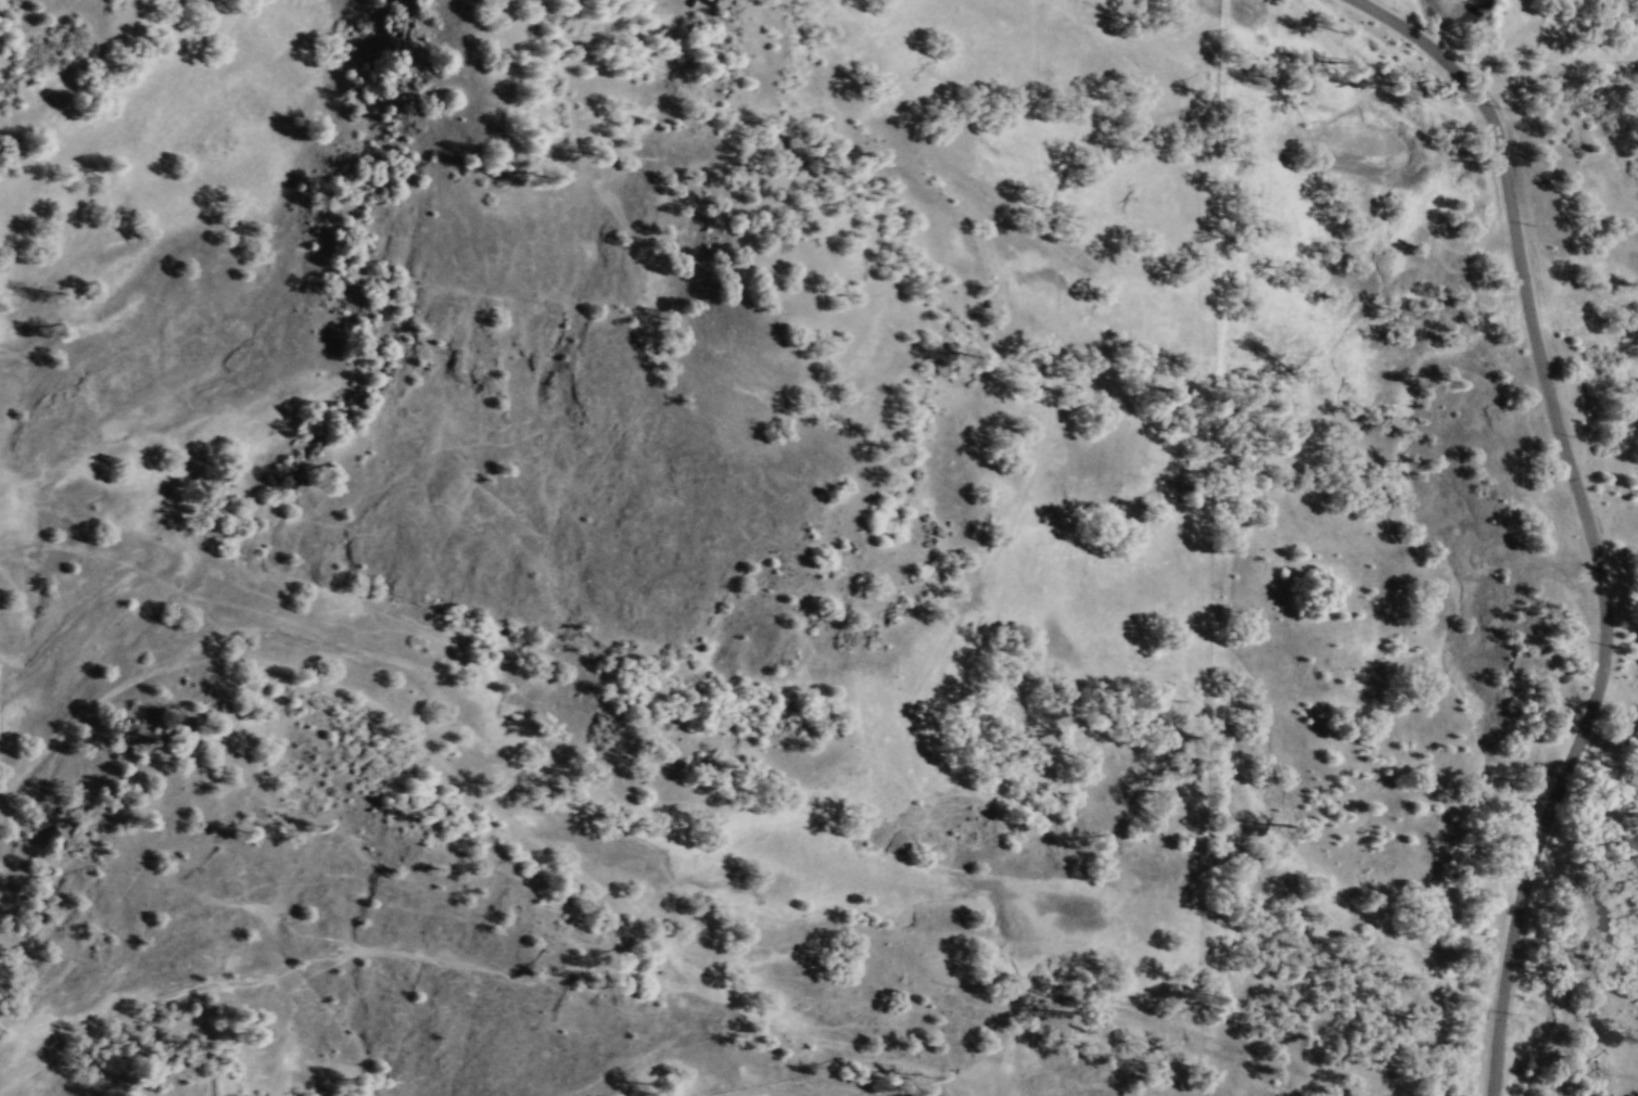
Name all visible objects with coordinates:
road: (1585, 521)

